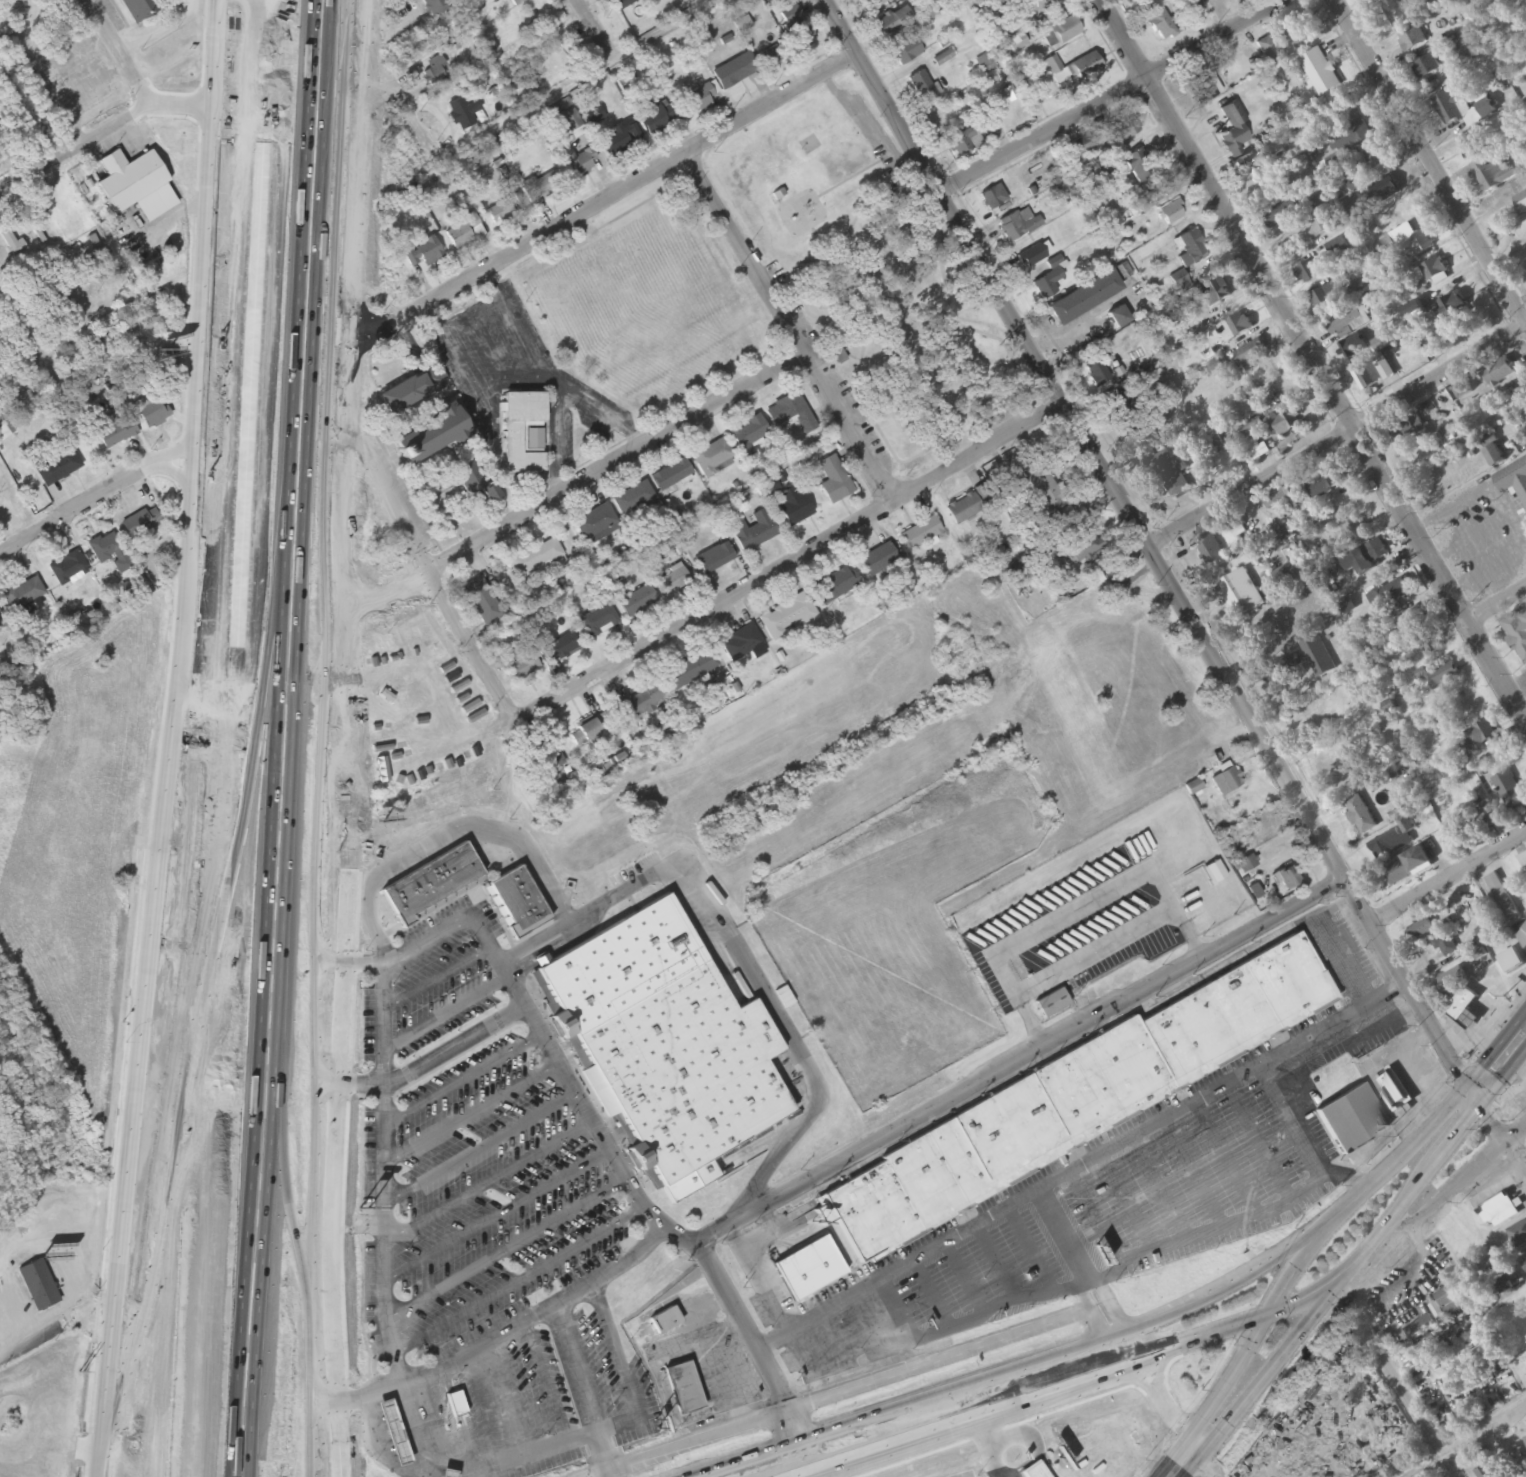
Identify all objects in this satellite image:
building: (1373, 0)
building: (1443, 1)
building: (517, 2)
building: (623, 4)
building: (873, 5)
building: (435, 6)
building: (139, 9)
road: (263, 14)
building: (1193, 17)
road: (597, 20)
building: (890, 23)
building: (794, 25)
building: (1161, 26)
building: (1297, 31)
building: (1061, 33)
building: (5, 39)
building: (1413, 40)
building: (419, 42)
building: (1017, 43)
building: (906, 51)
road: (118, 52)
building: (1456, 52)
building: (770, 58)
building: (1085, 66)
building: (1428, 67)
building: (435, 72)
building: (551, 72)
building: (735, 72)
building: (1057, 72)
building: (1321, 72)
building: (627, 85)
road: (399, 86)
building: (1202, 86)
building: (923, 87)
road: (1109, 97)
building: (699, 100)
building: (1462, 110)
building: (461, 114)
building: (594, 116)
building: (569, 118)
building: (654, 118)
building: (1233, 129)
road: (100, 134)
building: (1351, 136)
building: (622, 137)
building: (965, 140)
building: (809, 146)
building: (1468, 151)
building: (1377, 158)
building: (0, 161)
building: (582, 163)
building: (1248, 163)
road: (1427, 165)
building: (1135, 166)
building: (1036, 174)
building: (1097, 174)
building: (1495, 176)
building: (136, 186)
building: (541, 187)
road: (602, 197)
building: (993, 198)
building: (1322, 202)
building: (1522, 203)
building: (505, 211)
building: (1171, 214)
building: (1282, 214)
building: (1018, 226)
building: (1320, 226)
building: (464, 233)
building: (11, 235)
building: (1420, 244)
building: (1191, 247)
building: (421, 253)
building: (1032, 257)
building: (1431, 271)
building: (383, 273)
building: (1309, 273)
park: (873, 277)
building: (1050, 280)
road: (490, 283)
building: (1215, 294)
building: (1325, 297)
building: (1083, 298)
building: (1452, 310)
road: (470, 315)
road: (433, 316)
building: (1118, 317)
building: (1351, 322)
road: (790, 323)
building: (1237, 326)
road: (26, 330)
road: (521, 337)
road: (490, 348)
building: (1353, 348)
building: (1249, 356)
road: (1312, 360)
building: (2, 372)
building: (1498, 373)
building: (1098, 374)
building: (1370, 374)
road: (477, 385)
road: (281, 389)
building: (412, 390)
road: (237, 392)
road: (594, 409)
building: (149, 411)
building: (791, 414)
building: (904, 422)
building: (1285, 424)
building: (1407, 429)
building: (520, 432)
building: (114, 433)
building: (748, 435)
building: (429, 436)
road: (1340, 437)
road: (560, 441)
building: (1217, 443)
building: (1257, 450)
building: (1495, 456)
road: (619, 457)
building: (713, 457)
building: (56, 466)
building: (671, 476)
building: (1175, 477)
building: (1037, 479)
building: (1513, 479)
building: (834, 481)
building: (472, 482)
building: (1326, 484)
road: (96, 493)
building: (633, 498)
building: (1285, 498)
building: (793, 506)
building: (963, 509)
building: (594, 522)
building: (138, 527)
building: (754, 532)
building: (1356, 534)
building: (920, 535)
building: (1082, 547)
building: (1043, 549)
building: (1210, 550)
building: (110, 553)
building: (535, 558)
road: (787, 558)
building: (1368, 558)
building: (714, 559)
road: (431, 560)
building: (878, 561)
building: (67, 568)
building: (1293, 571)
building: (673, 581)
building: (834, 587)
road: (1174, 587)
road: (183, 589)
building: (23, 594)
building: (1242, 594)
building: (1391, 595)
building: (482, 602)
building: (637, 602)
road: (1498, 606)
building: (787, 617)
building: (0, 618)
building: (1411, 621)
building: (599, 622)
building: (1517, 635)
building: (1431, 643)
building: (741, 644)
building: (560, 647)
building: (1319, 657)
building: (522, 666)
building: (691, 669)
building: (1283, 672)
building: (1445, 675)
road: (349, 701)
building: (641, 703)
building: (590, 730)
road: (238, 736)
building: (1480, 737)
road: (219, 752)
building: (1226, 782)
building: (1511, 792)
road: (186, 812)
building: (1360, 815)
building: (1487, 819)
building: (1396, 840)
building: (1523, 861)
building: (1245, 867)
building: (1400, 872)
road: (661, 875)
road: (1448, 877)
building: (1287, 879)
building: (432, 881)
building: (1205, 891)
road: (315, 896)
building: (1502, 897)
building: (517, 899)
road: (461, 931)
building: (1419, 931)
building: (1446, 947)
road: (518, 956)
building: (1511, 962)
road: (446, 979)
building: (1451, 981)
building: (1051, 1004)
building: (1463, 1005)
road: (453, 1016)
road: (538, 1024)
building: (676, 1046)
road: (1021, 1062)
road: (1500, 1064)
road: (392, 1066)
road: (470, 1080)
building: (1524, 1082)
building: (1394, 1090)
building: (1073, 1095)
traffic signals: (1474, 1097)
road: (479, 1116)
building: (1351, 1120)
road: (488, 1150)
road: (1460, 1182)
road: (496, 1183)
road: (1412, 1192)
building: (1500, 1212)
road: (507, 1219)
building: (1518, 1236)
road: (941, 1245)
road: (514, 1253)
building: (1524, 1265)
building: (802, 1266)
traffic signals: (1337, 1279)
road: (523, 1286)
building: (38, 1287)
road: (1106, 1302)
building: (1443, 1305)
road: (396, 1307)
road: (1092, 1309)
road: (116, 1315)
traffic signals: (1265, 1316)
building: (665, 1322)
road: (742, 1326)
road: (1104, 1338)
road: (1251, 1340)
road: (1393, 1378)
road: (560, 1379)
road: (1264, 1380)
road: (1076, 1383)
building: (688, 1387)
road: (525, 1394)
road: (1159, 1396)
road: (646, 1398)
building: (456, 1405)
road: (493, 1407)
building: (469, 1411)
road: (471, 1414)
building: (398, 1432)
gas station: (398, 1432)
road: (337, 1440)
road: (801, 1441)
road: (1473, 1444)
road: (528, 1457)
road: (103, 1465)
road: (1205, 1468)
building: (1031, 1471)
building: (1486, 1472)

